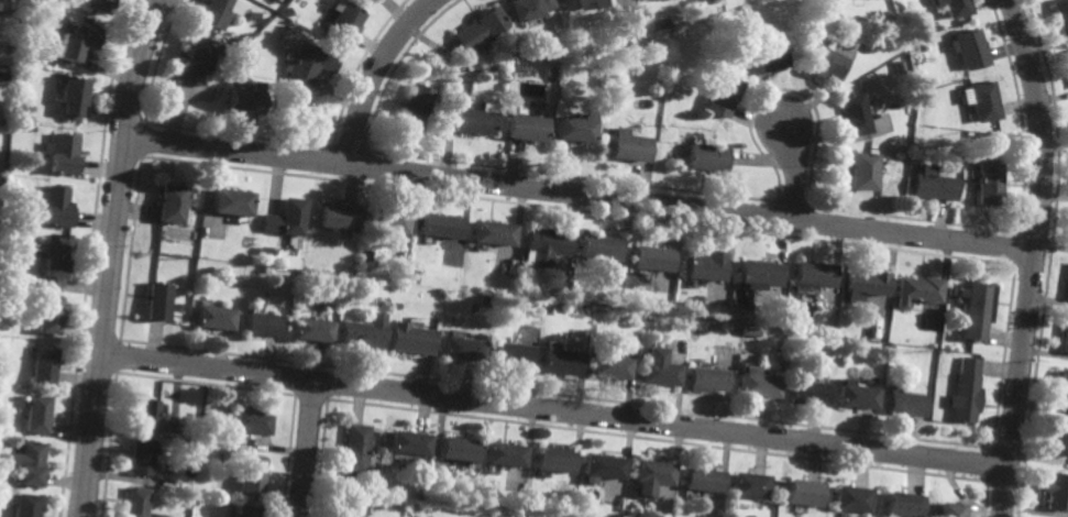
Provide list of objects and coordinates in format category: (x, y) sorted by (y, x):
building: (584, 3)
building: (100, 5)
building: (954, 7)
building: (19, 8)
building: (718, 8)
building: (528, 9)
building: (287, 11)
building: (216, 13)
building: (253, 16)
building: (1060, 16)
building: (343, 22)
building: (286, 23)
building: (480, 29)
building: (79, 45)
building: (866, 46)
building: (970, 48)
building: (1066, 57)
building: (764, 58)
building: (821, 62)
building: (196, 63)
building: (309, 63)
building: (552, 71)
road: (373, 74)
building: (9, 76)
building: (724, 96)
building: (75, 98)
building: (242, 100)
building: (980, 100)
building: (412, 109)
building: (852, 114)
building: (474, 122)
building: (16, 127)
building: (528, 128)
building: (576, 130)
building: (630, 146)
building: (65, 155)
building: (707, 157)
building: (862, 172)
road: (794, 173)
building: (1, 182)
building: (987, 183)
building: (931, 184)
road: (579, 194)
building: (230, 199)
building: (170, 201)
building: (55, 205)
building: (194, 211)
building: (335, 215)
building: (284, 216)
building: (385, 219)
building: (440, 224)
building: (492, 232)
building: (543, 244)
building: (598, 246)
building: (364, 253)
road: (111, 256)
road: (1032, 256)
building: (651, 257)
building: (53, 264)
building: (704, 265)
building: (756, 272)
building: (808, 272)
road: (890, 272)
building: (414, 280)
building: (862, 283)
building: (318, 289)
building: (915, 289)
building: (951, 290)
building: (1067, 290)
building: (348, 296)
building: (858, 296)
building: (1067, 298)
building: (156, 299)
building: (483, 299)
building: (304, 301)
building: (337, 301)
building: (526, 302)
building: (181, 306)
building: (396, 306)
building: (686, 306)
building: (566, 308)
building: (973, 309)
building: (318, 311)
building: (46, 313)
building: (213, 316)
building: (623, 317)
building: (263, 322)
building: (312, 328)
building: (362, 333)
building: (1064, 334)
building: (410, 338)
building: (459, 345)
building: (508, 353)
building: (786, 355)
building: (557, 359)
building: (41, 363)
building: (608, 366)
building: (656, 367)
building: (705, 378)
building: (869, 378)
building: (755, 382)
building: (1060, 385)
building: (964, 391)
building: (805, 392)
building: (855, 396)
building: (903, 403)
road: (553, 410)
building: (33, 414)
building: (143, 414)
building: (250, 419)
building: (1058, 438)
building: (407, 442)
building: (355, 447)
building: (458, 448)
road: (307, 449)
building: (503, 453)
building: (139, 455)
building: (552, 459)
building: (29, 463)
building: (602, 465)
building: (2, 474)
building: (251, 474)
building: (649, 475)
building: (701, 480)
building: (747, 485)
building: (1056, 491)
building: (800, 492)
building: (421, 496)
building: (848, 498)
building: (132, 502)
building: (898, 504)
building: (22, 505)
building: (348, 509)
building: (563, 509)
building: (947, 509)
building: (245, 510)

